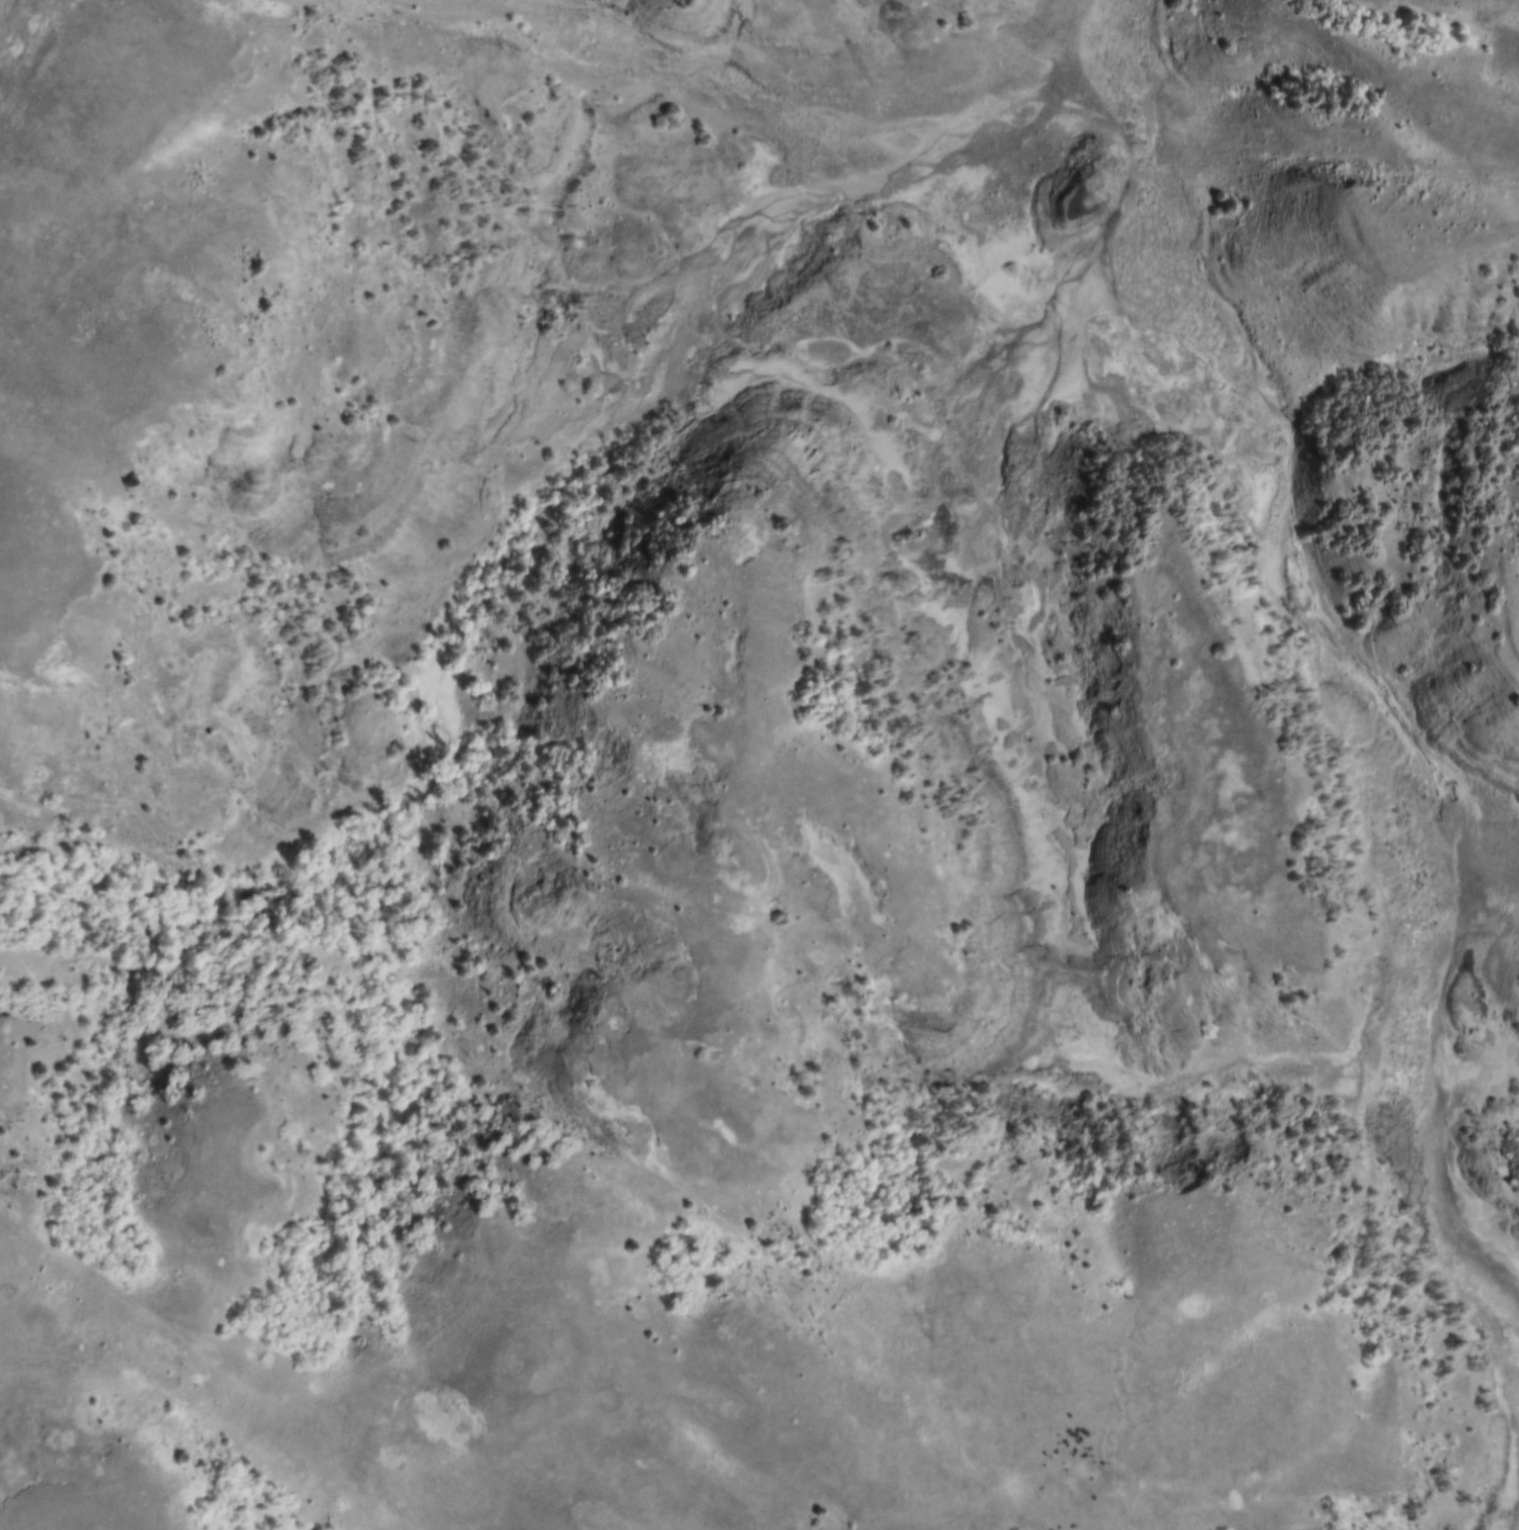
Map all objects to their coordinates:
road: (108, 843)

